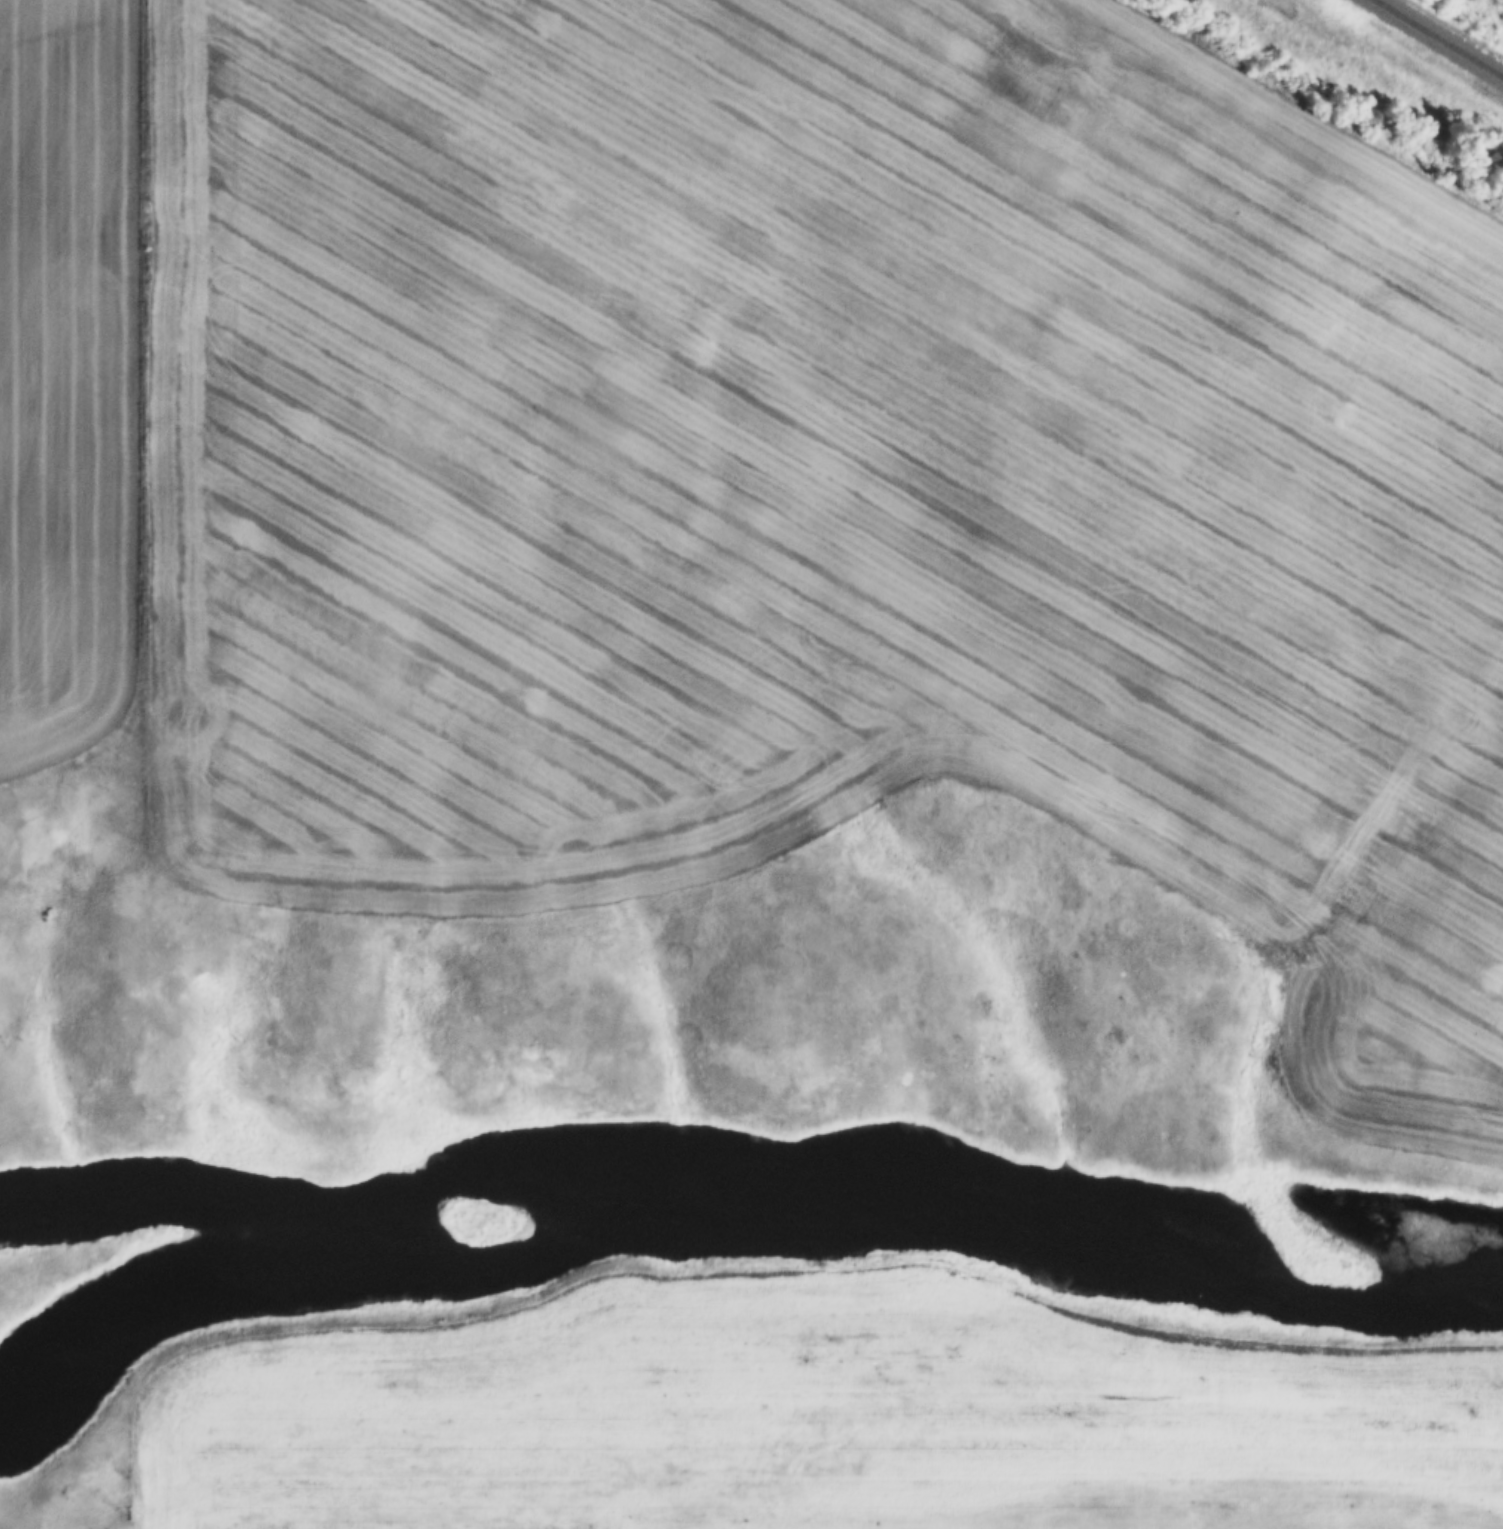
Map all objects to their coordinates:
railway: (1438, 38)
river: (756, 1186)

